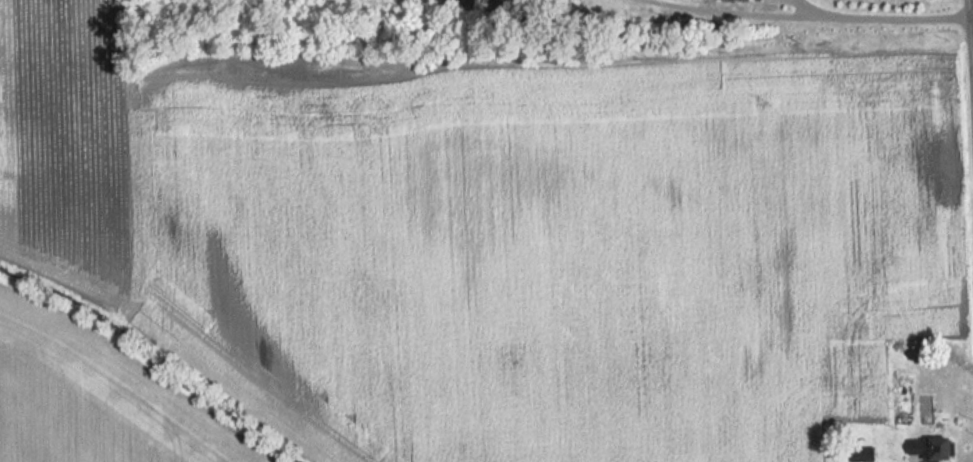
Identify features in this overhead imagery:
building: (740, 0)
road: (886, 12)
building: (921, 447)
building: (855, 454)

